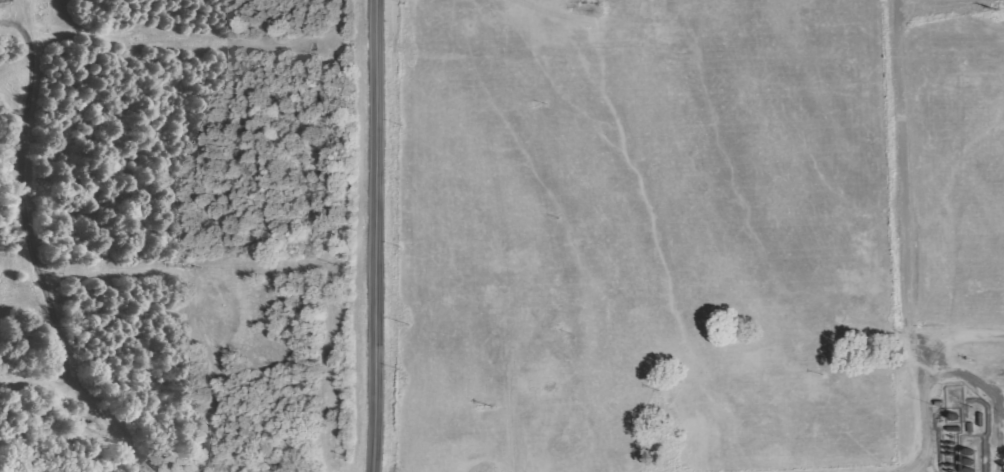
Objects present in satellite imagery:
road: (950, 7)
road: (375, 236)
road: (957, 336)

